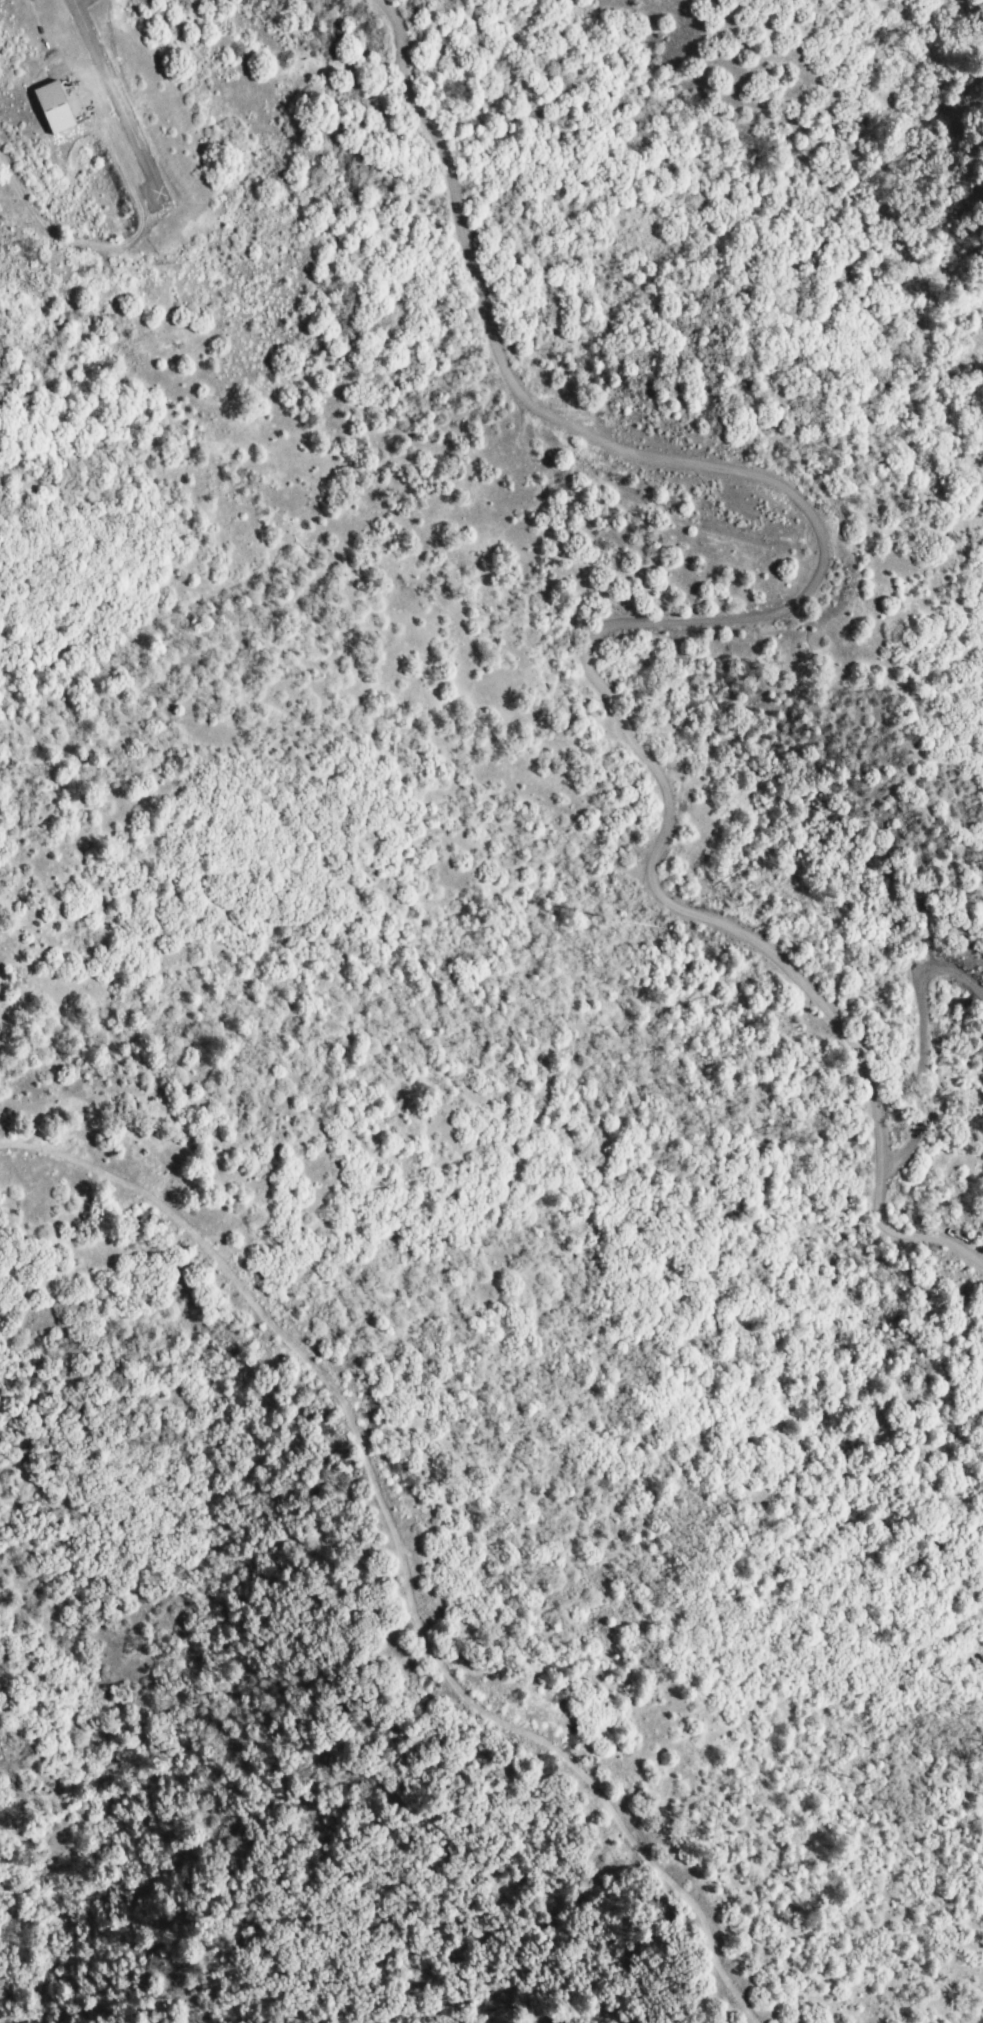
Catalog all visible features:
road: (94, 39)
building: (57, 108)

